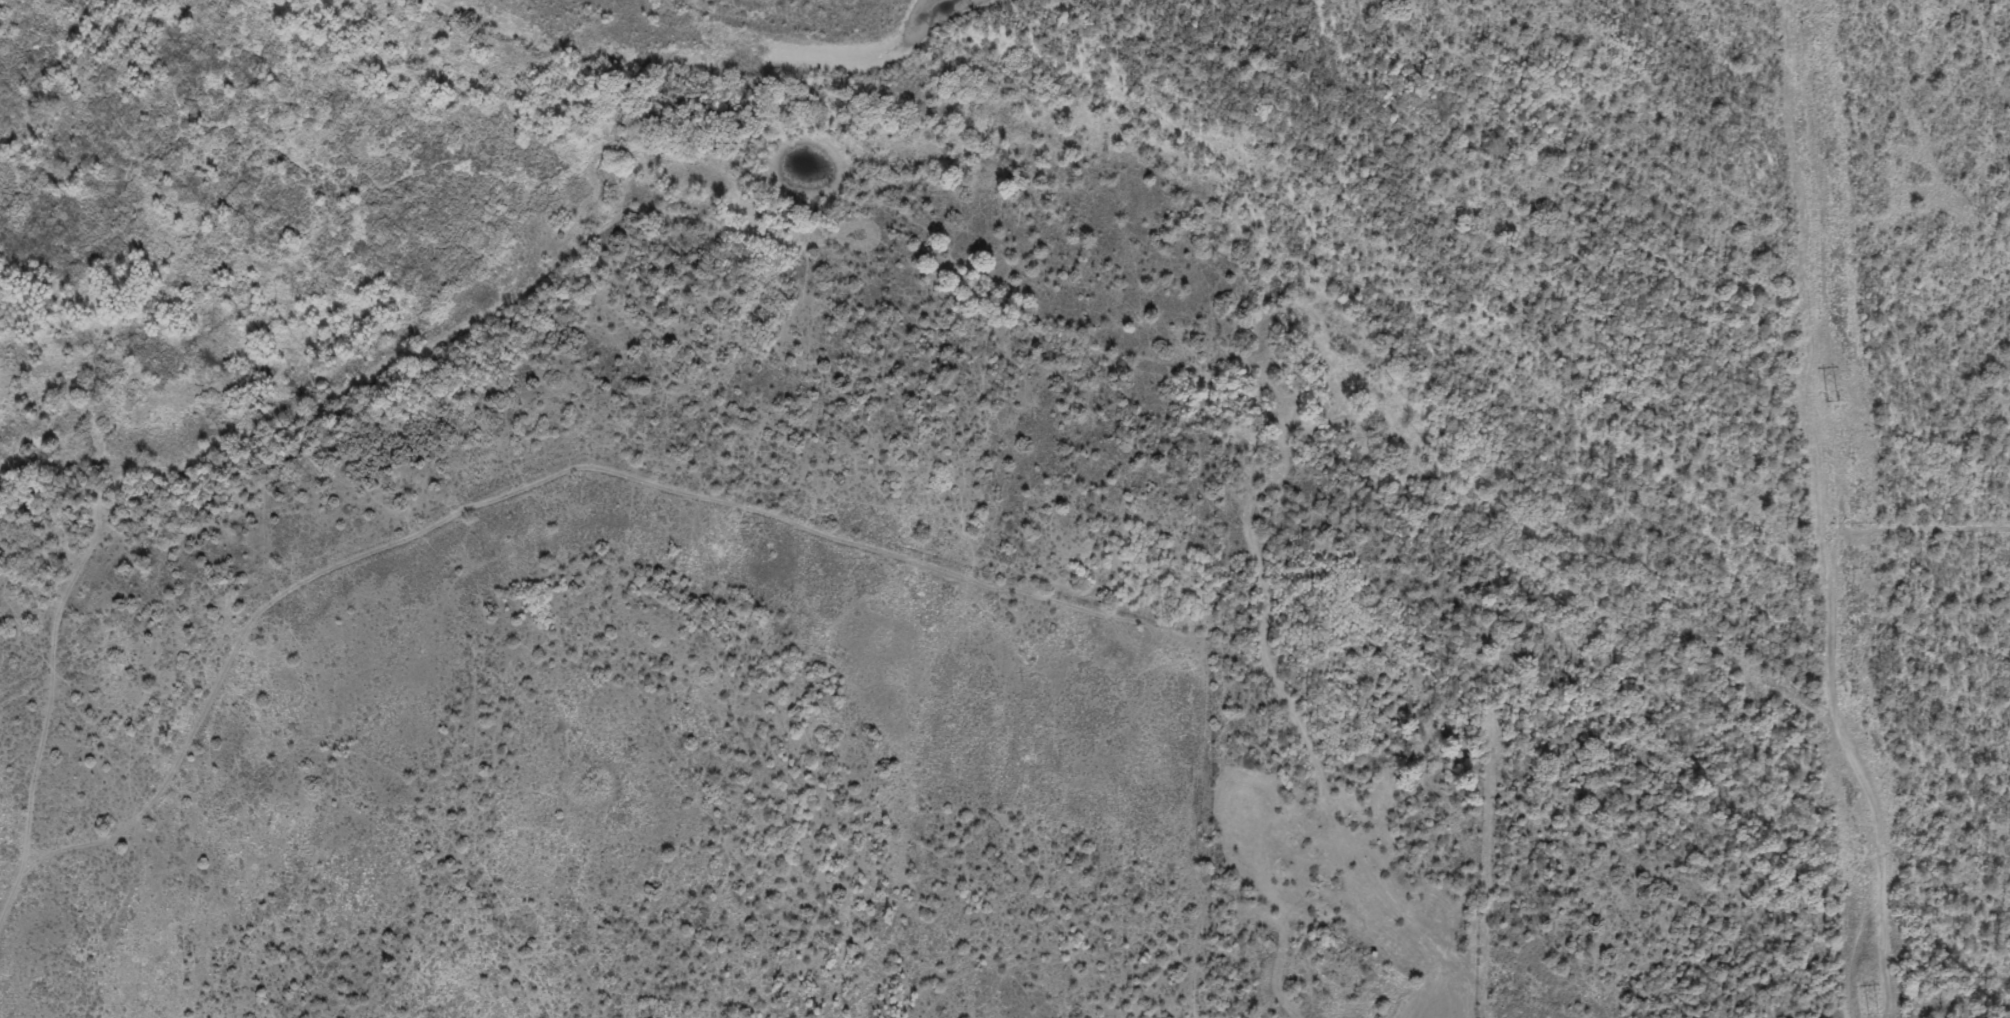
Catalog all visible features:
power tower: (1832, 401)
power tower: (1872, 1014)

